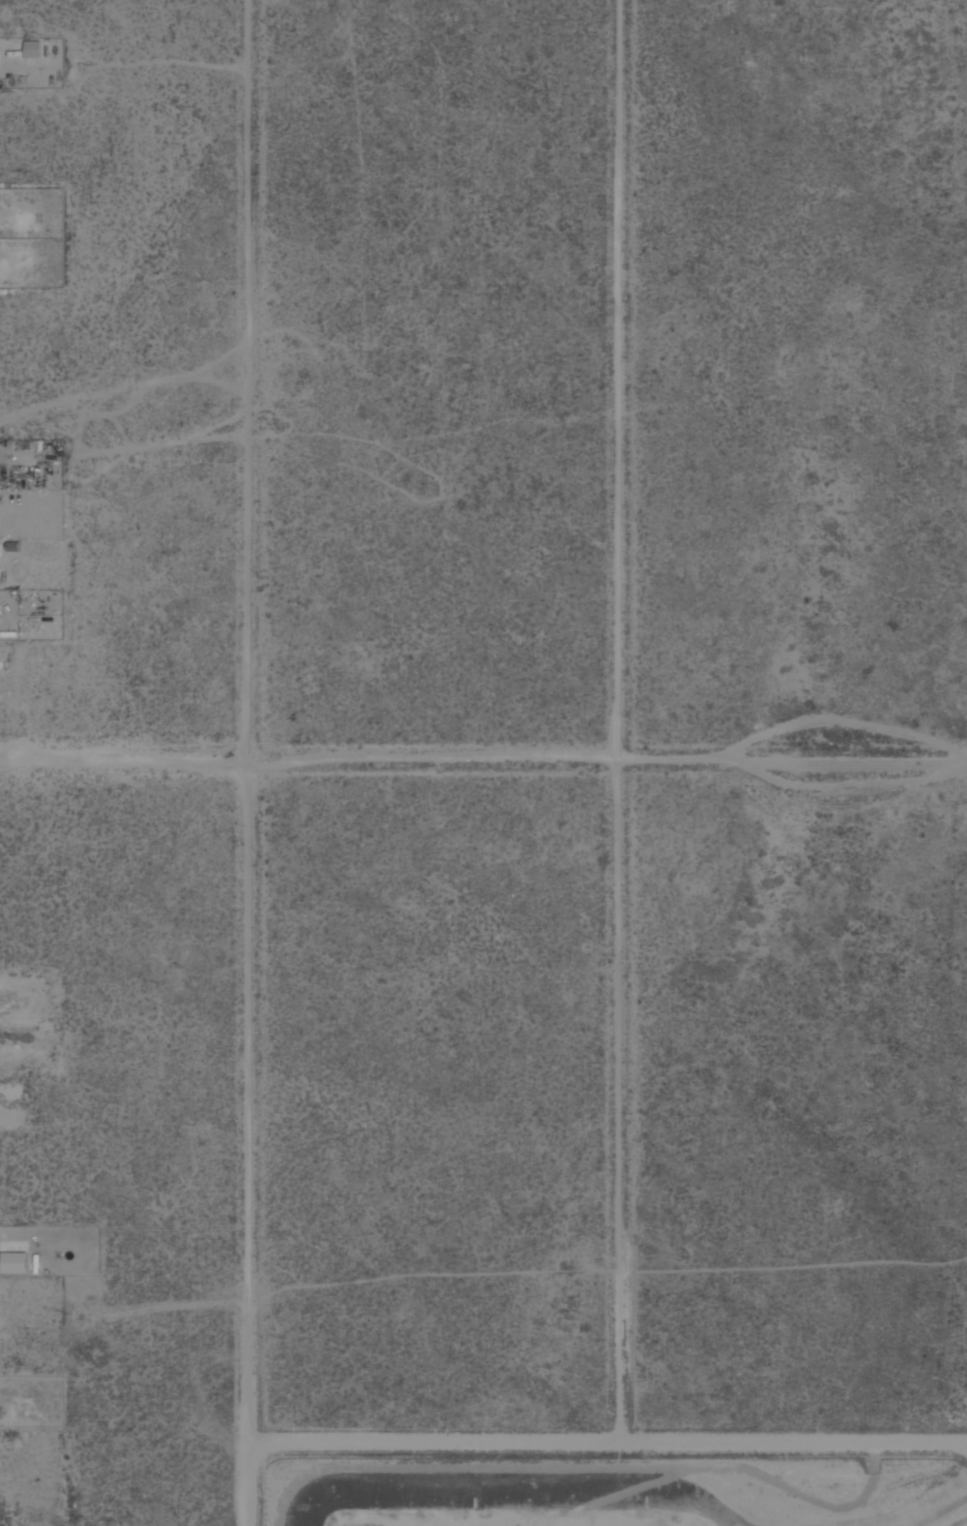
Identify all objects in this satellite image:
road: (247, 378)
road: (617, 379)
road: (483, 757)
road: (246, 1141)
road: (617, 1142)
building: (0, 1412)

